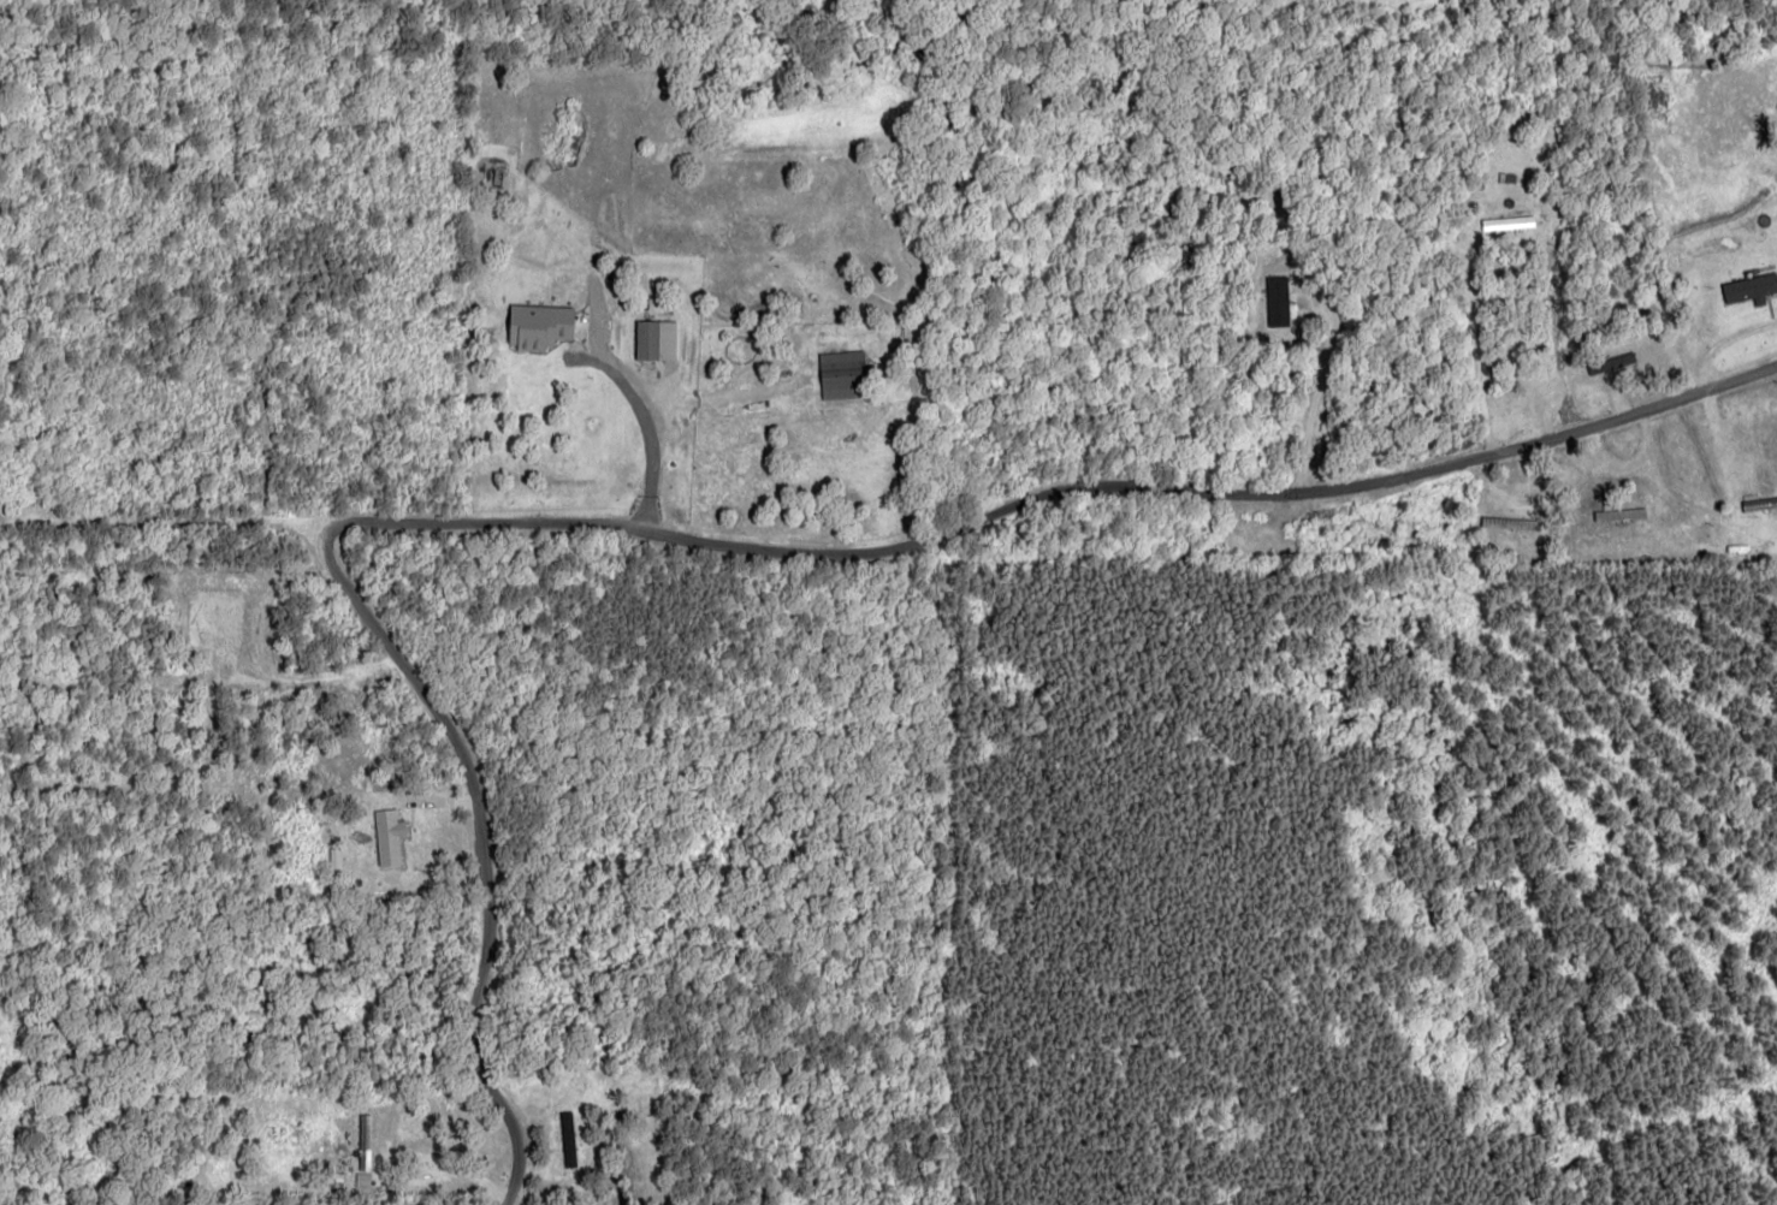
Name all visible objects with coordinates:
building: (1751, 289)
building: (1277, 301)
building: (537, 325)
building: (645, 339)
building: (841, 374)
road: (775, 475)
building: (1609, 515)
road: (221, 553)
building: (387, 837)
building: (567, 1139)
building: (363, 1142)

